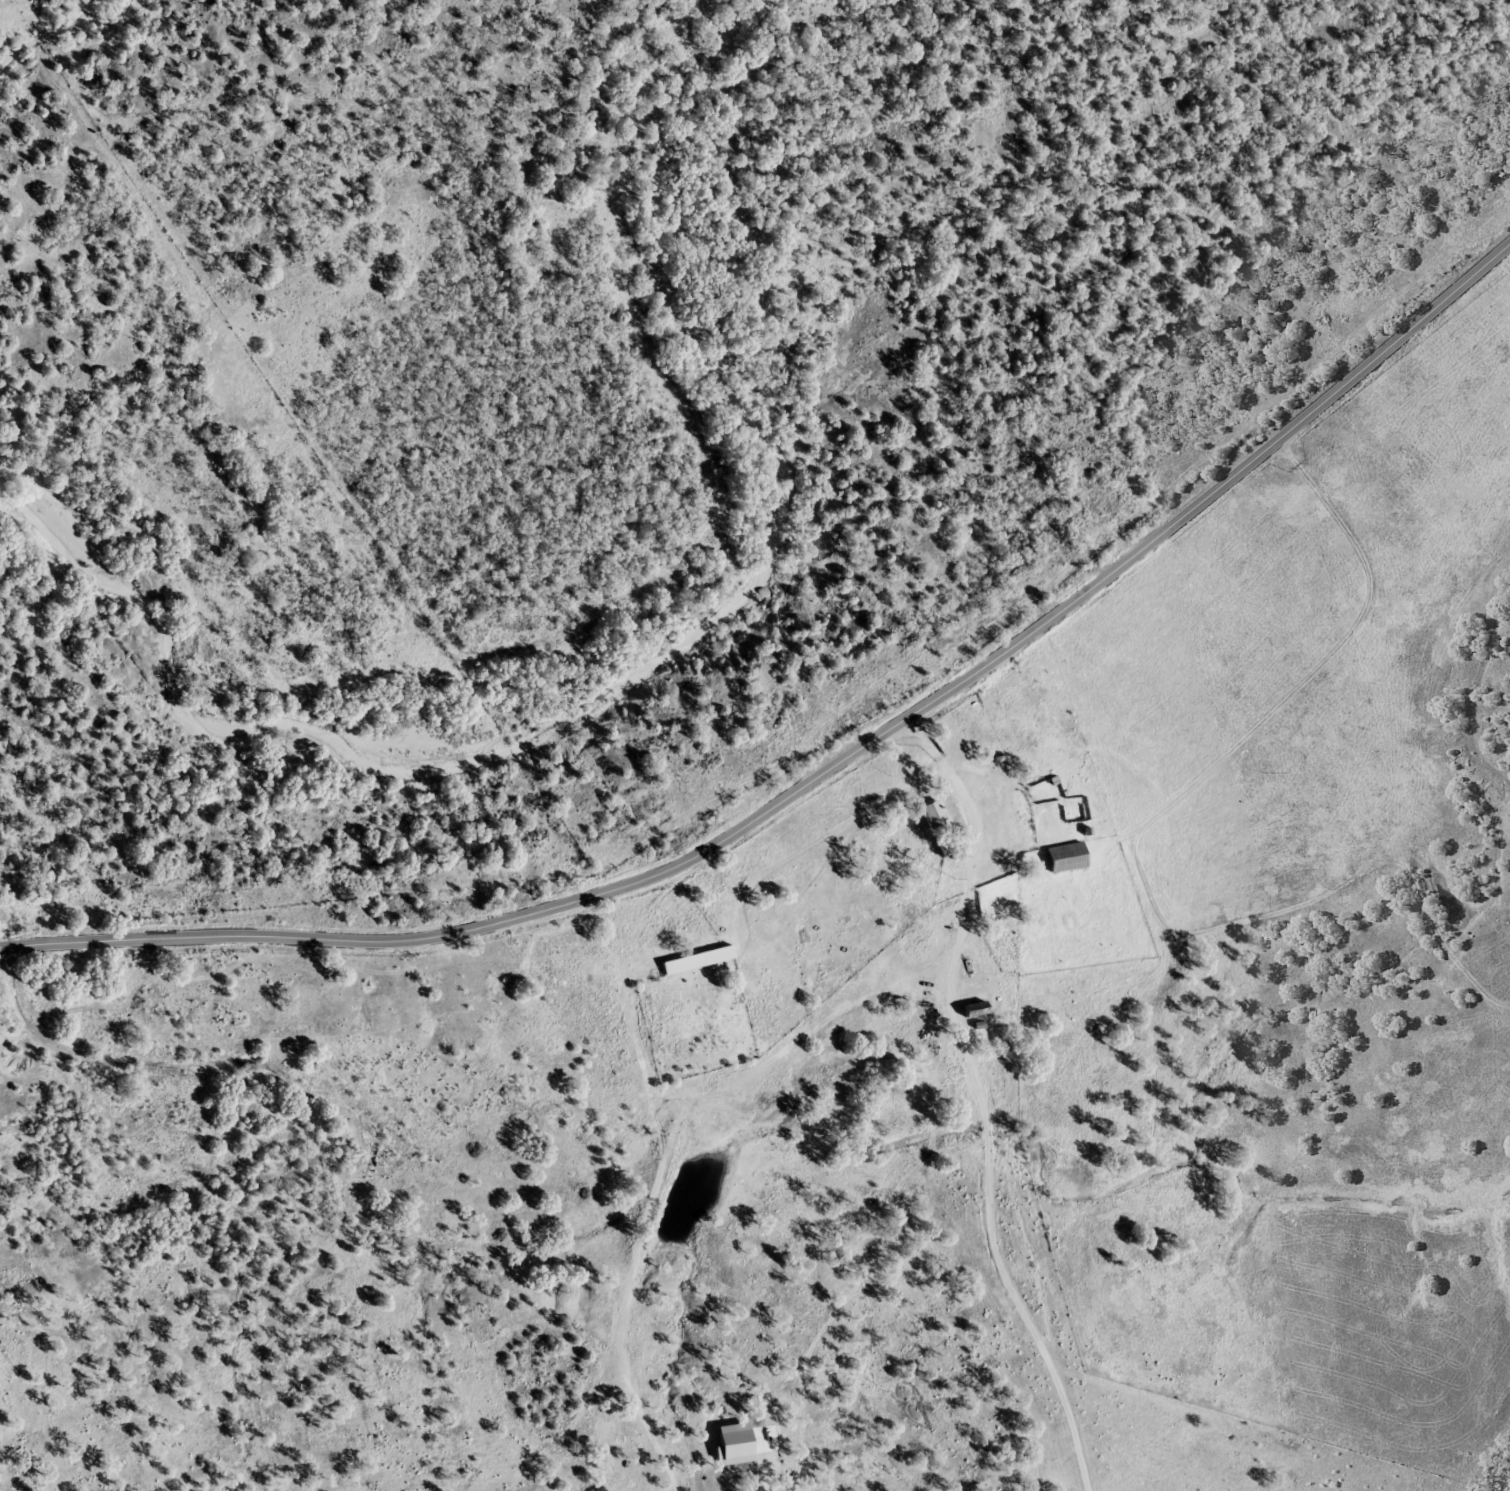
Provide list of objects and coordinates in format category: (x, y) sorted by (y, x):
road: (824, 771)
building: (936, 815)
building: (948, 847)
building: (1066, 858)
building: (698, 961)
building: (976, 1010)
road: (979, 1092)
road: (664, 1154)
railway: (1508, 1489)

